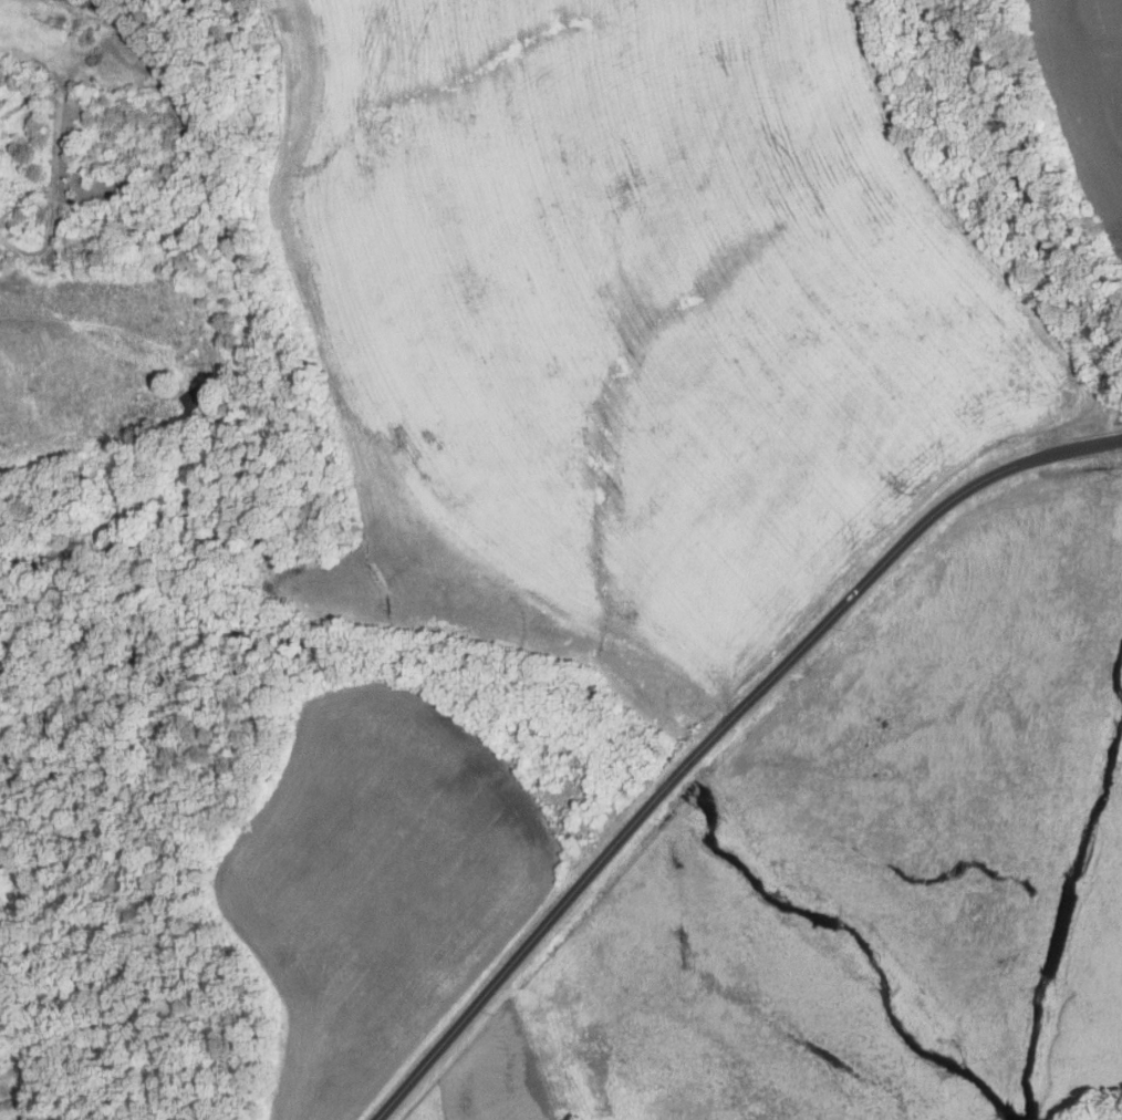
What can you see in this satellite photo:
road: (905, 541)
road: (553, 916)

